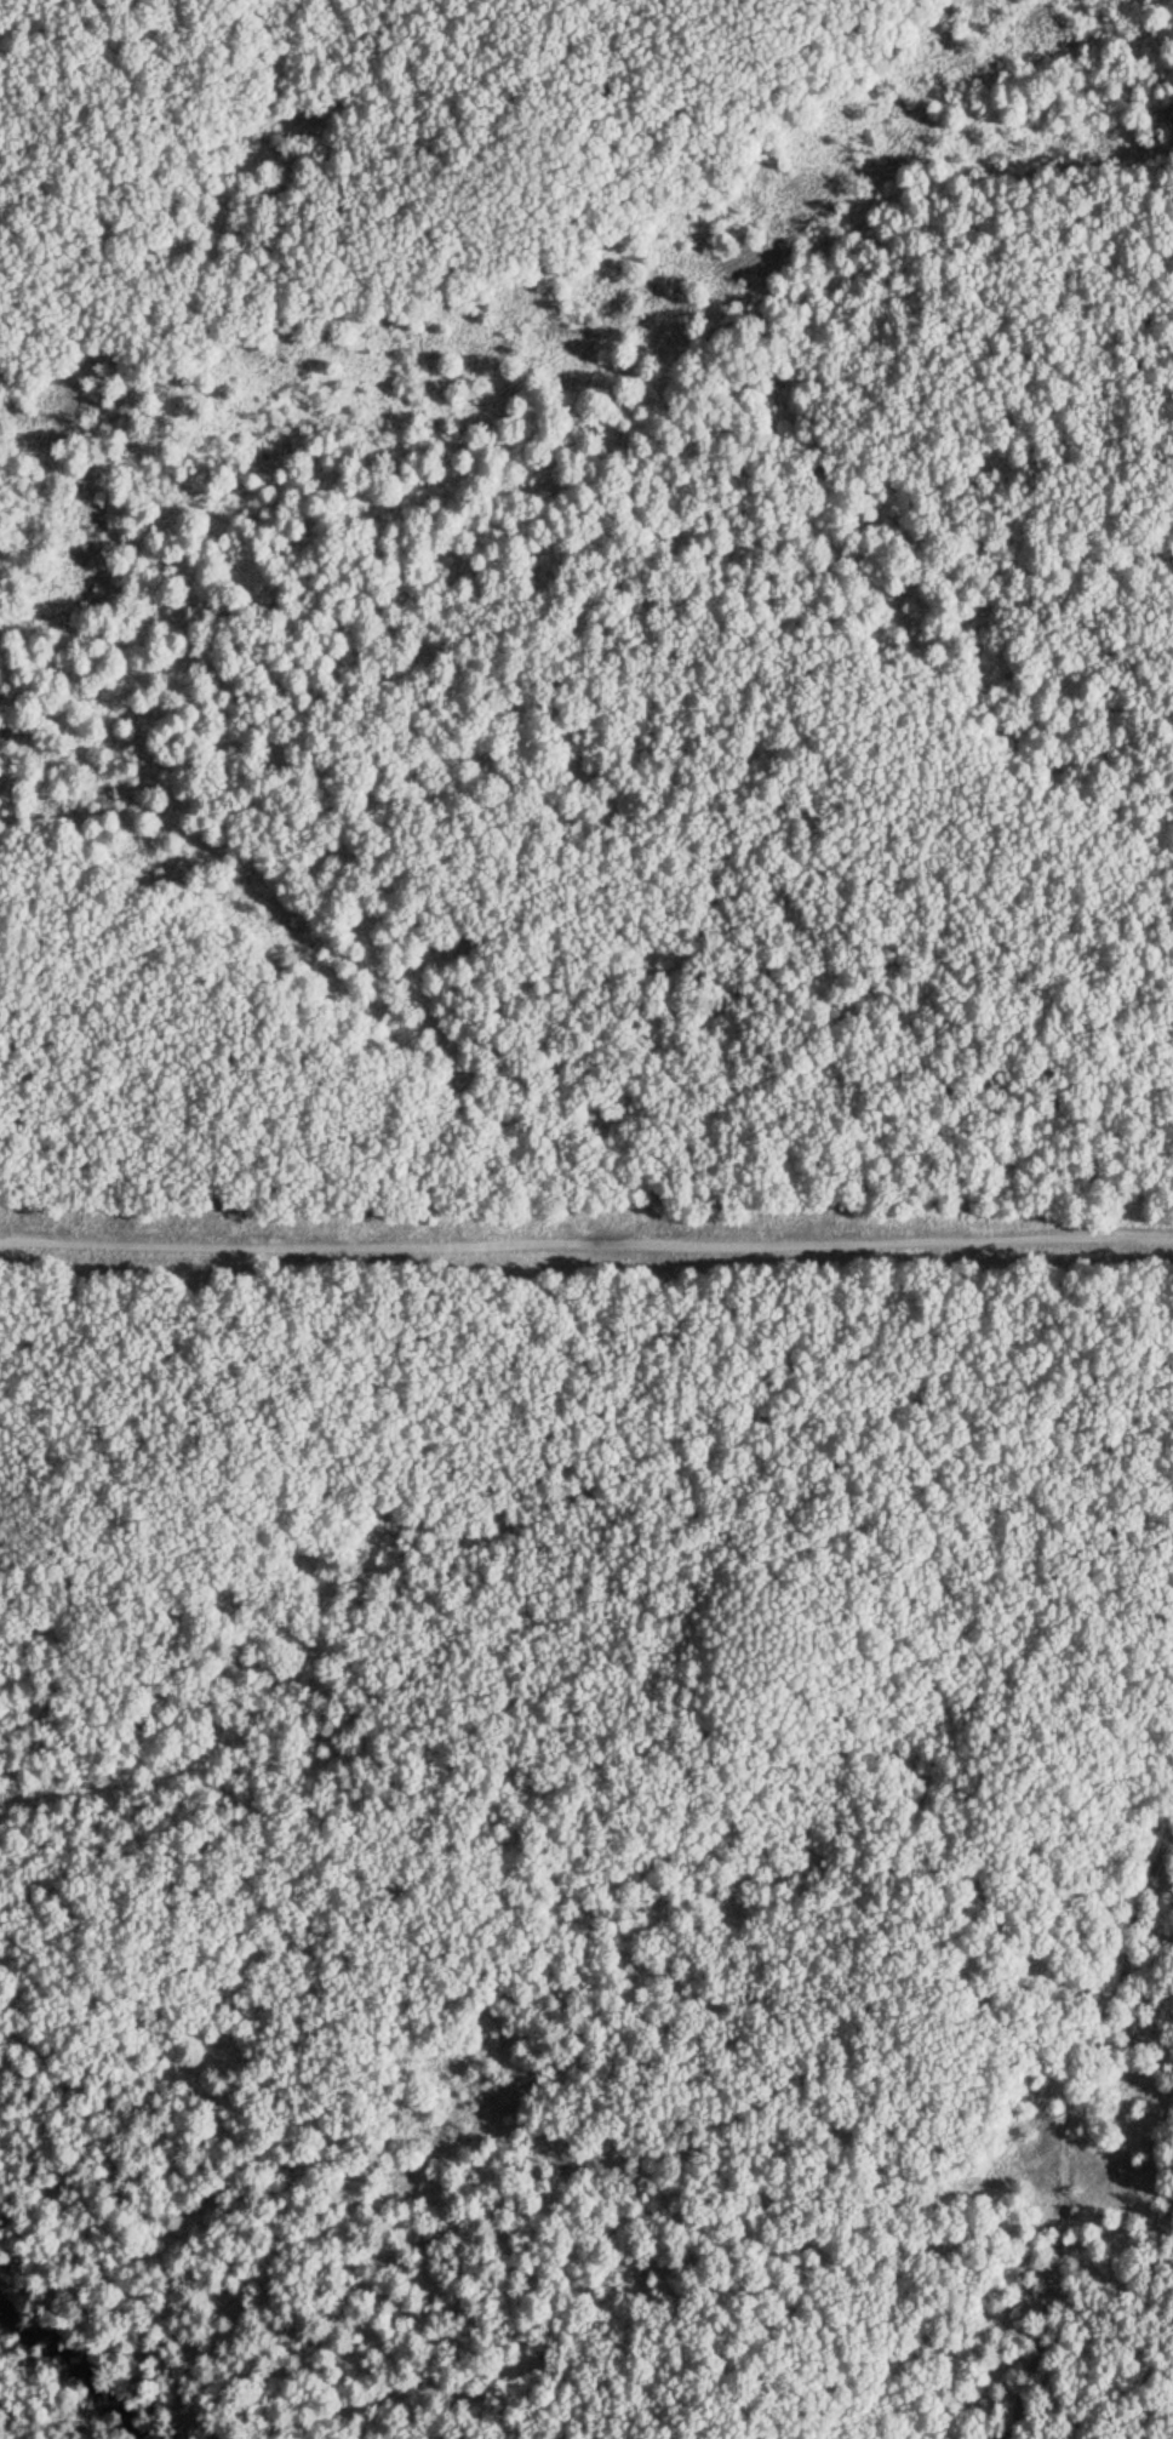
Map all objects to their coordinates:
road: (586, 1244)
road: (1069, 2127)

